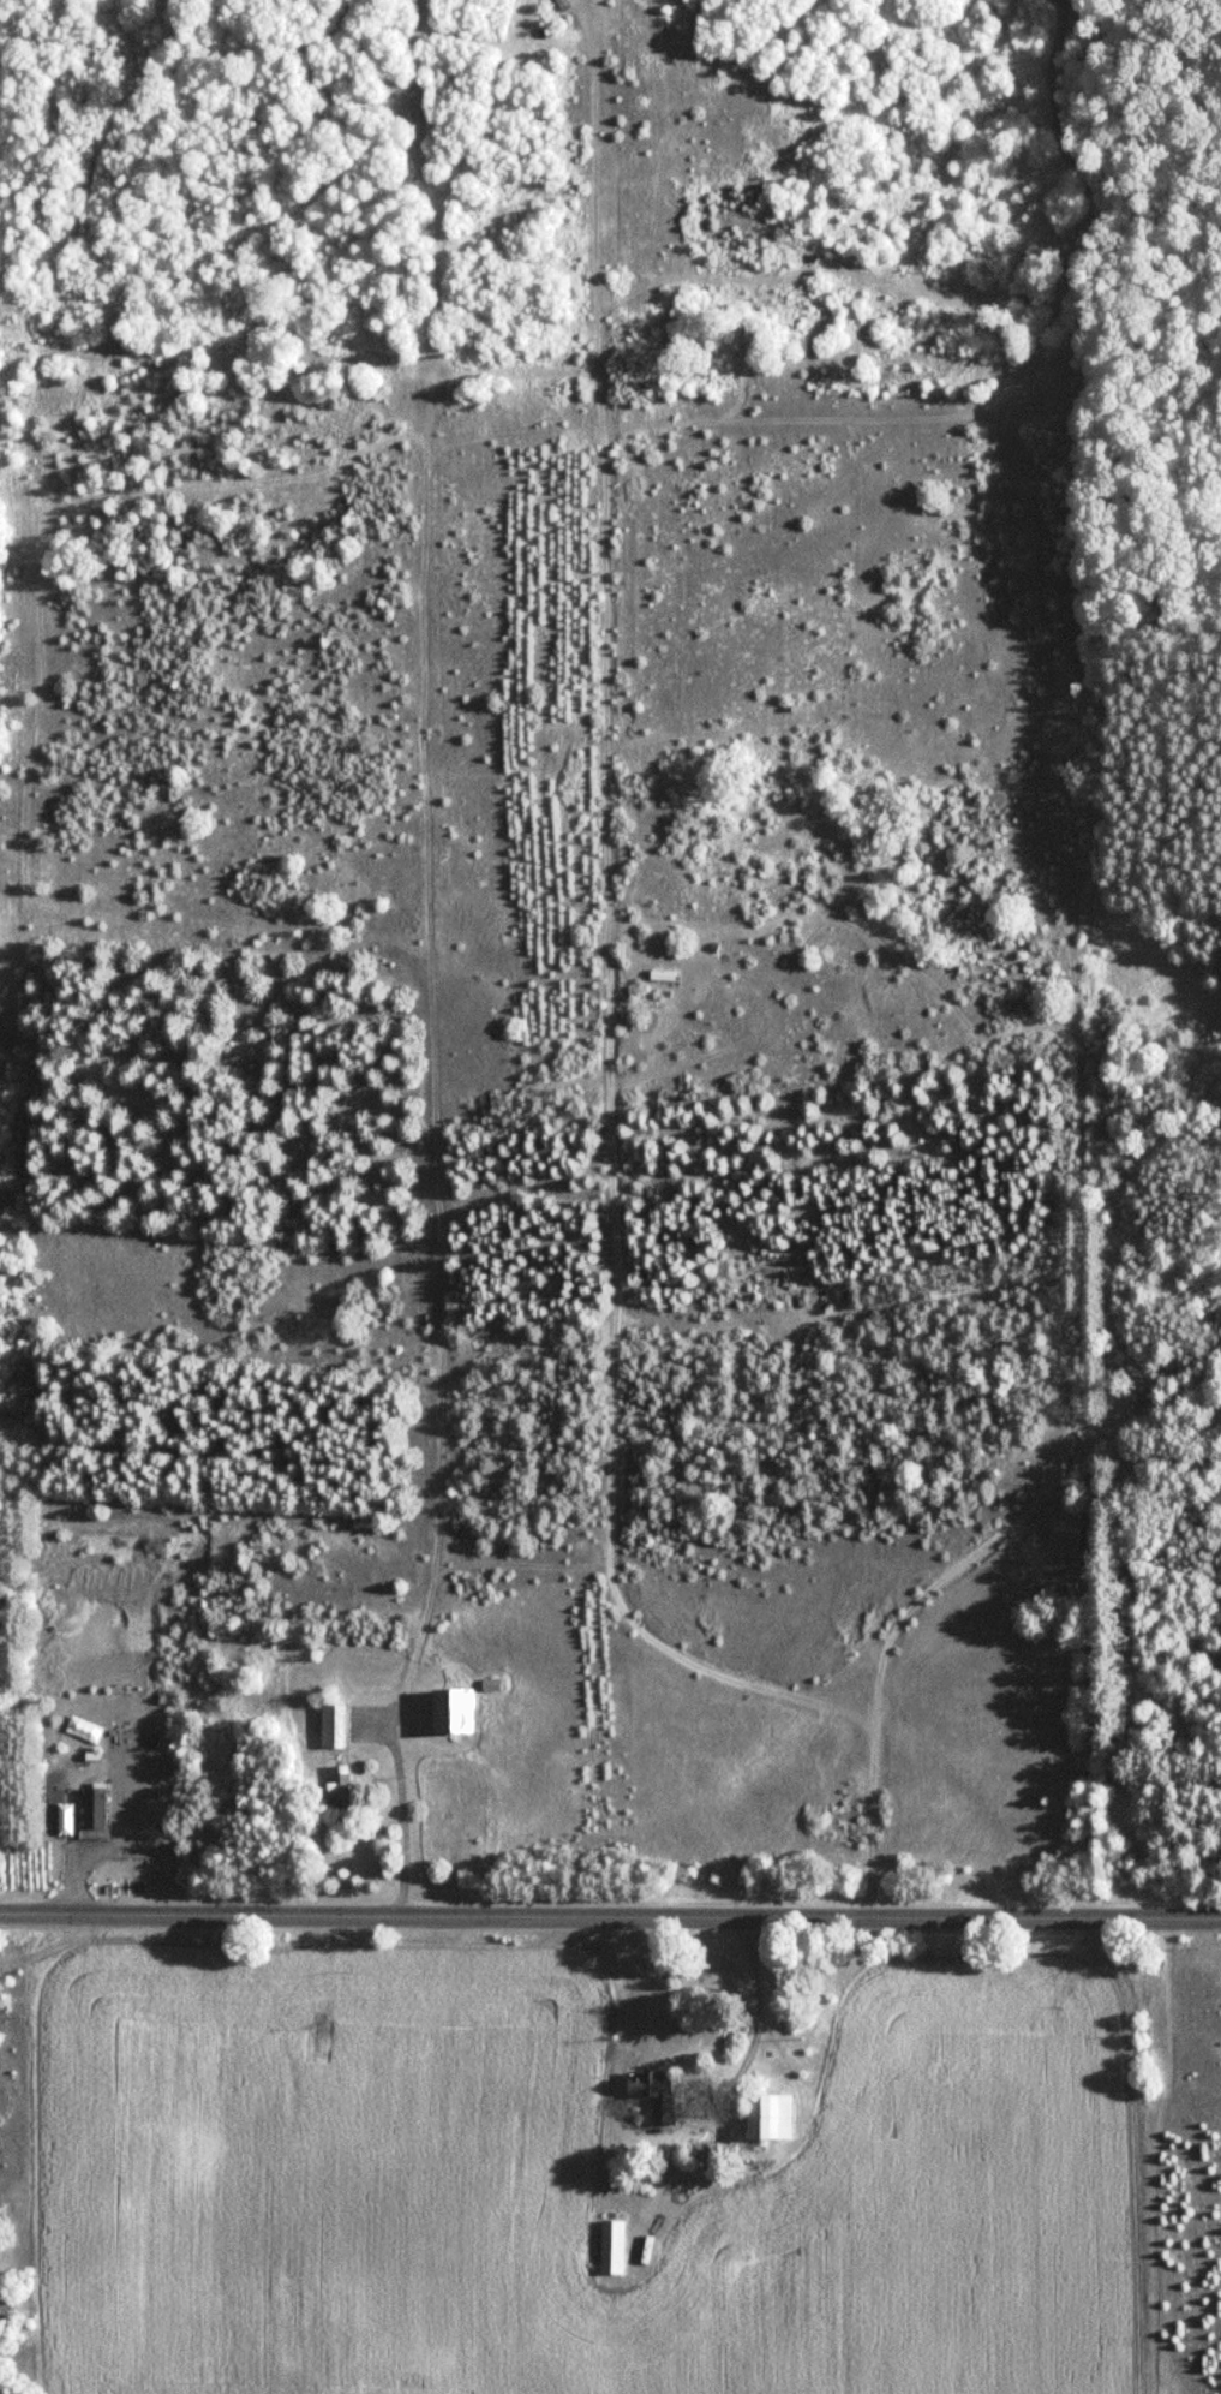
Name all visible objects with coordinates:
building: (451, 1709)
building: (334, 1724)
building: (336, 1786)
building: (92, 1807)
road: (610, 1910)
building: (654, 2092)
building: (768, 2117)
building: (611, 2246)

